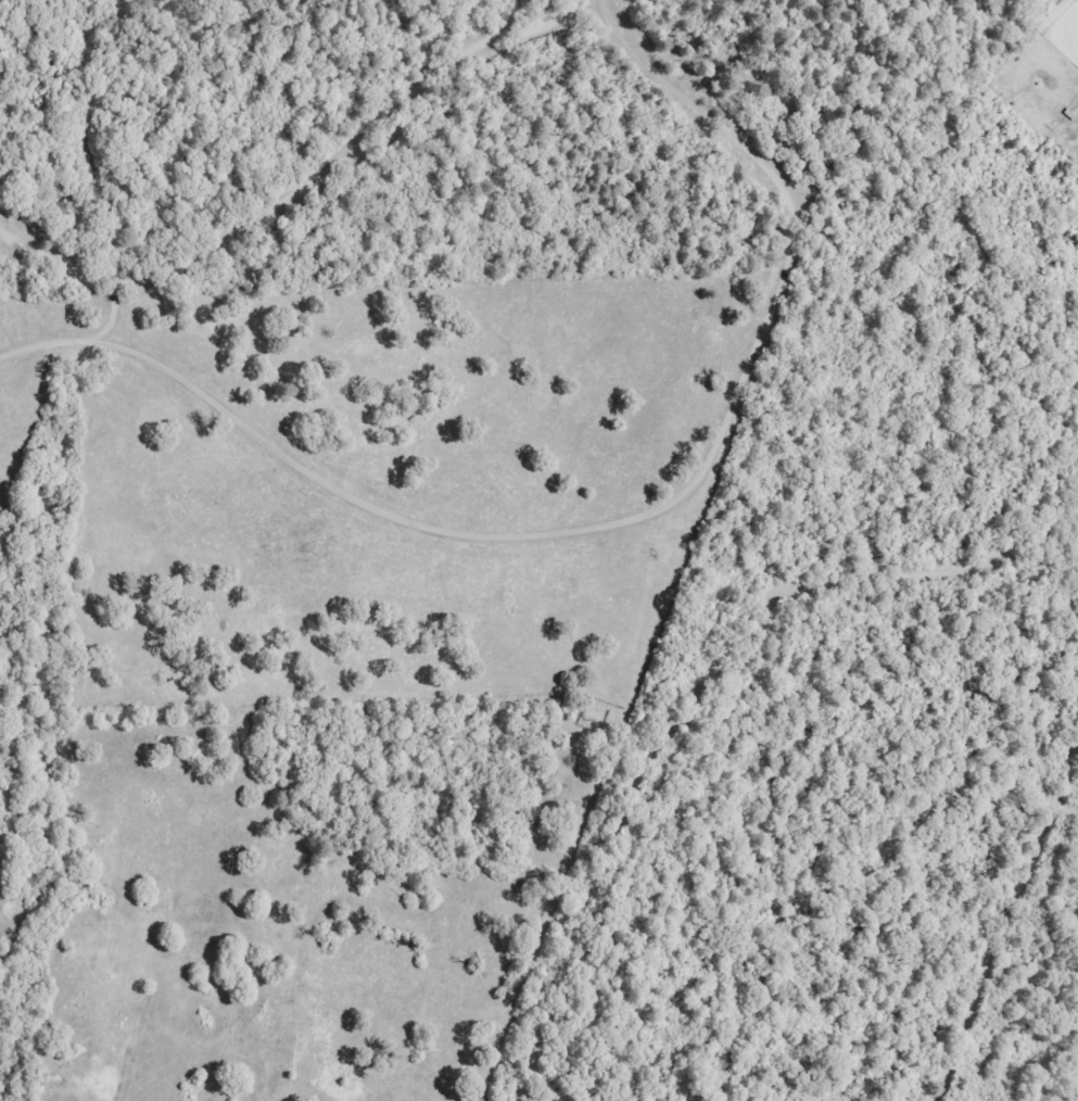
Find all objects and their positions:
road: (592, 2)
road: (304, 188)
road: (618, 524)
road: (695, 695)

